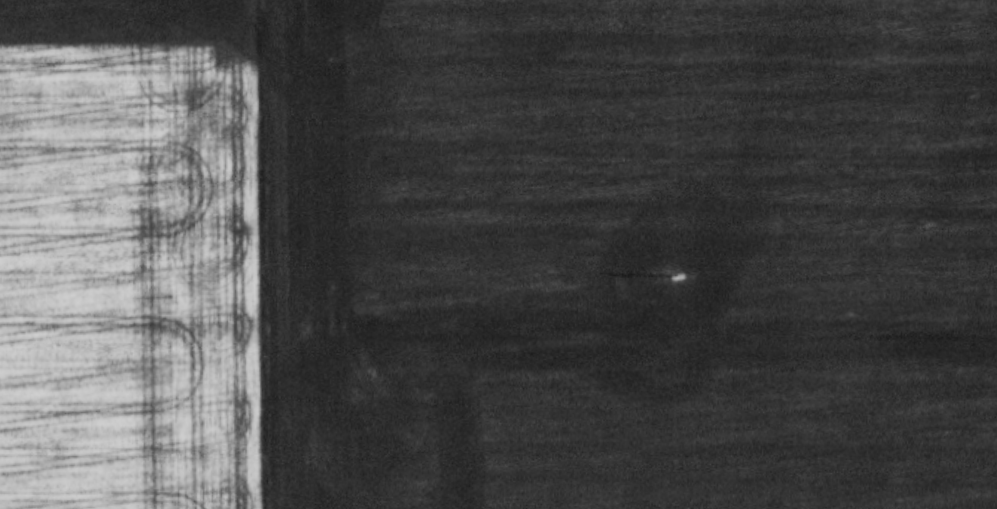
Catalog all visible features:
crop: (632, 254)
crop: (134, 255)
power tower: (672, 276)

